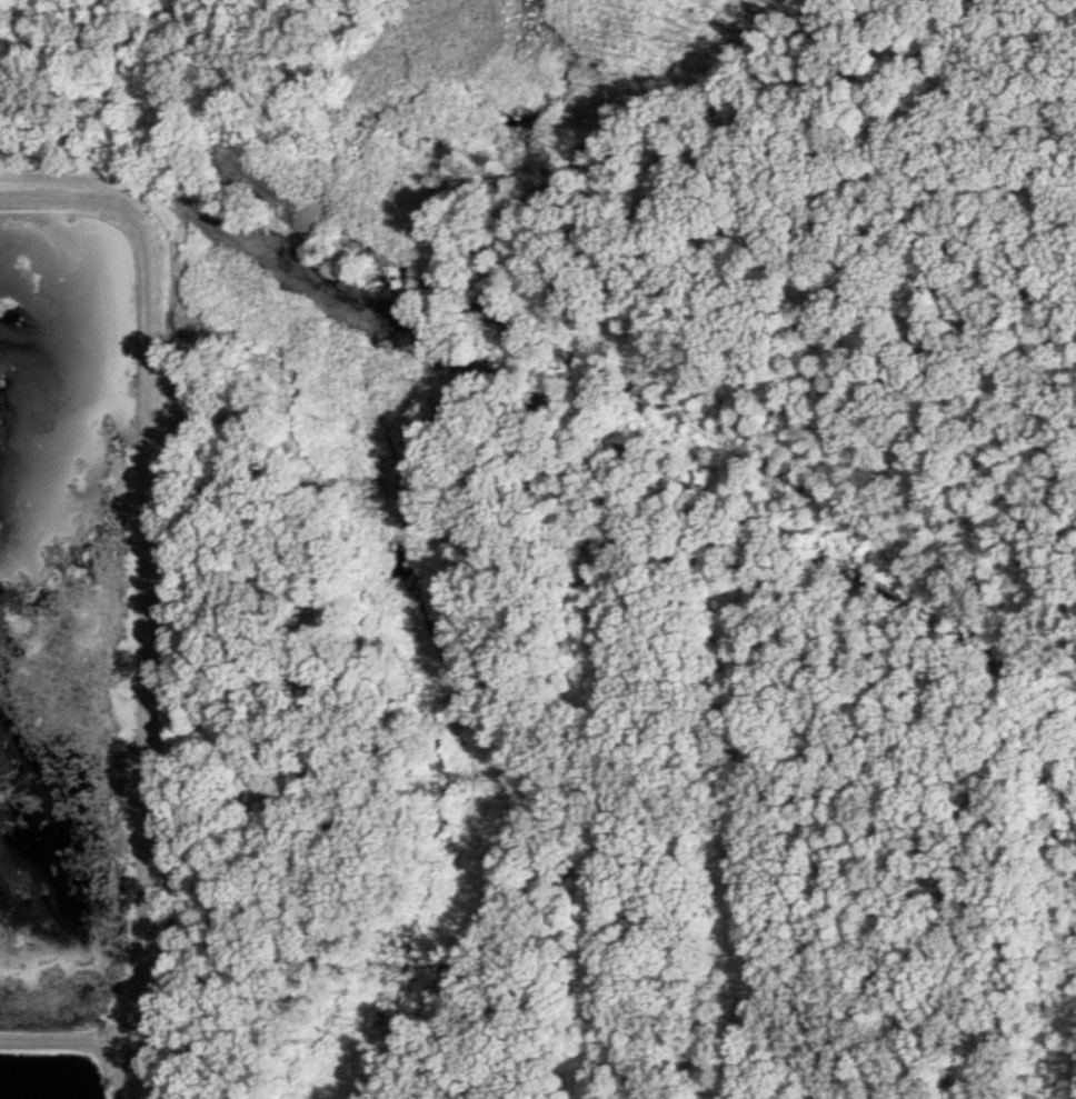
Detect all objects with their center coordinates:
road: (59, 193)
wastewater plant: (78, 623)
road: (67, 1039)
road: (129, 1066)

